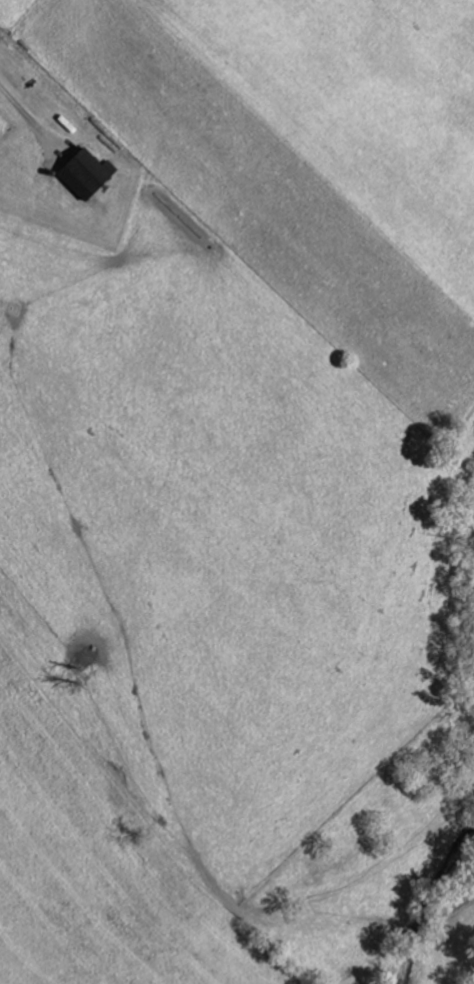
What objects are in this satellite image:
road: (25, 111)
building: (87, 175)

